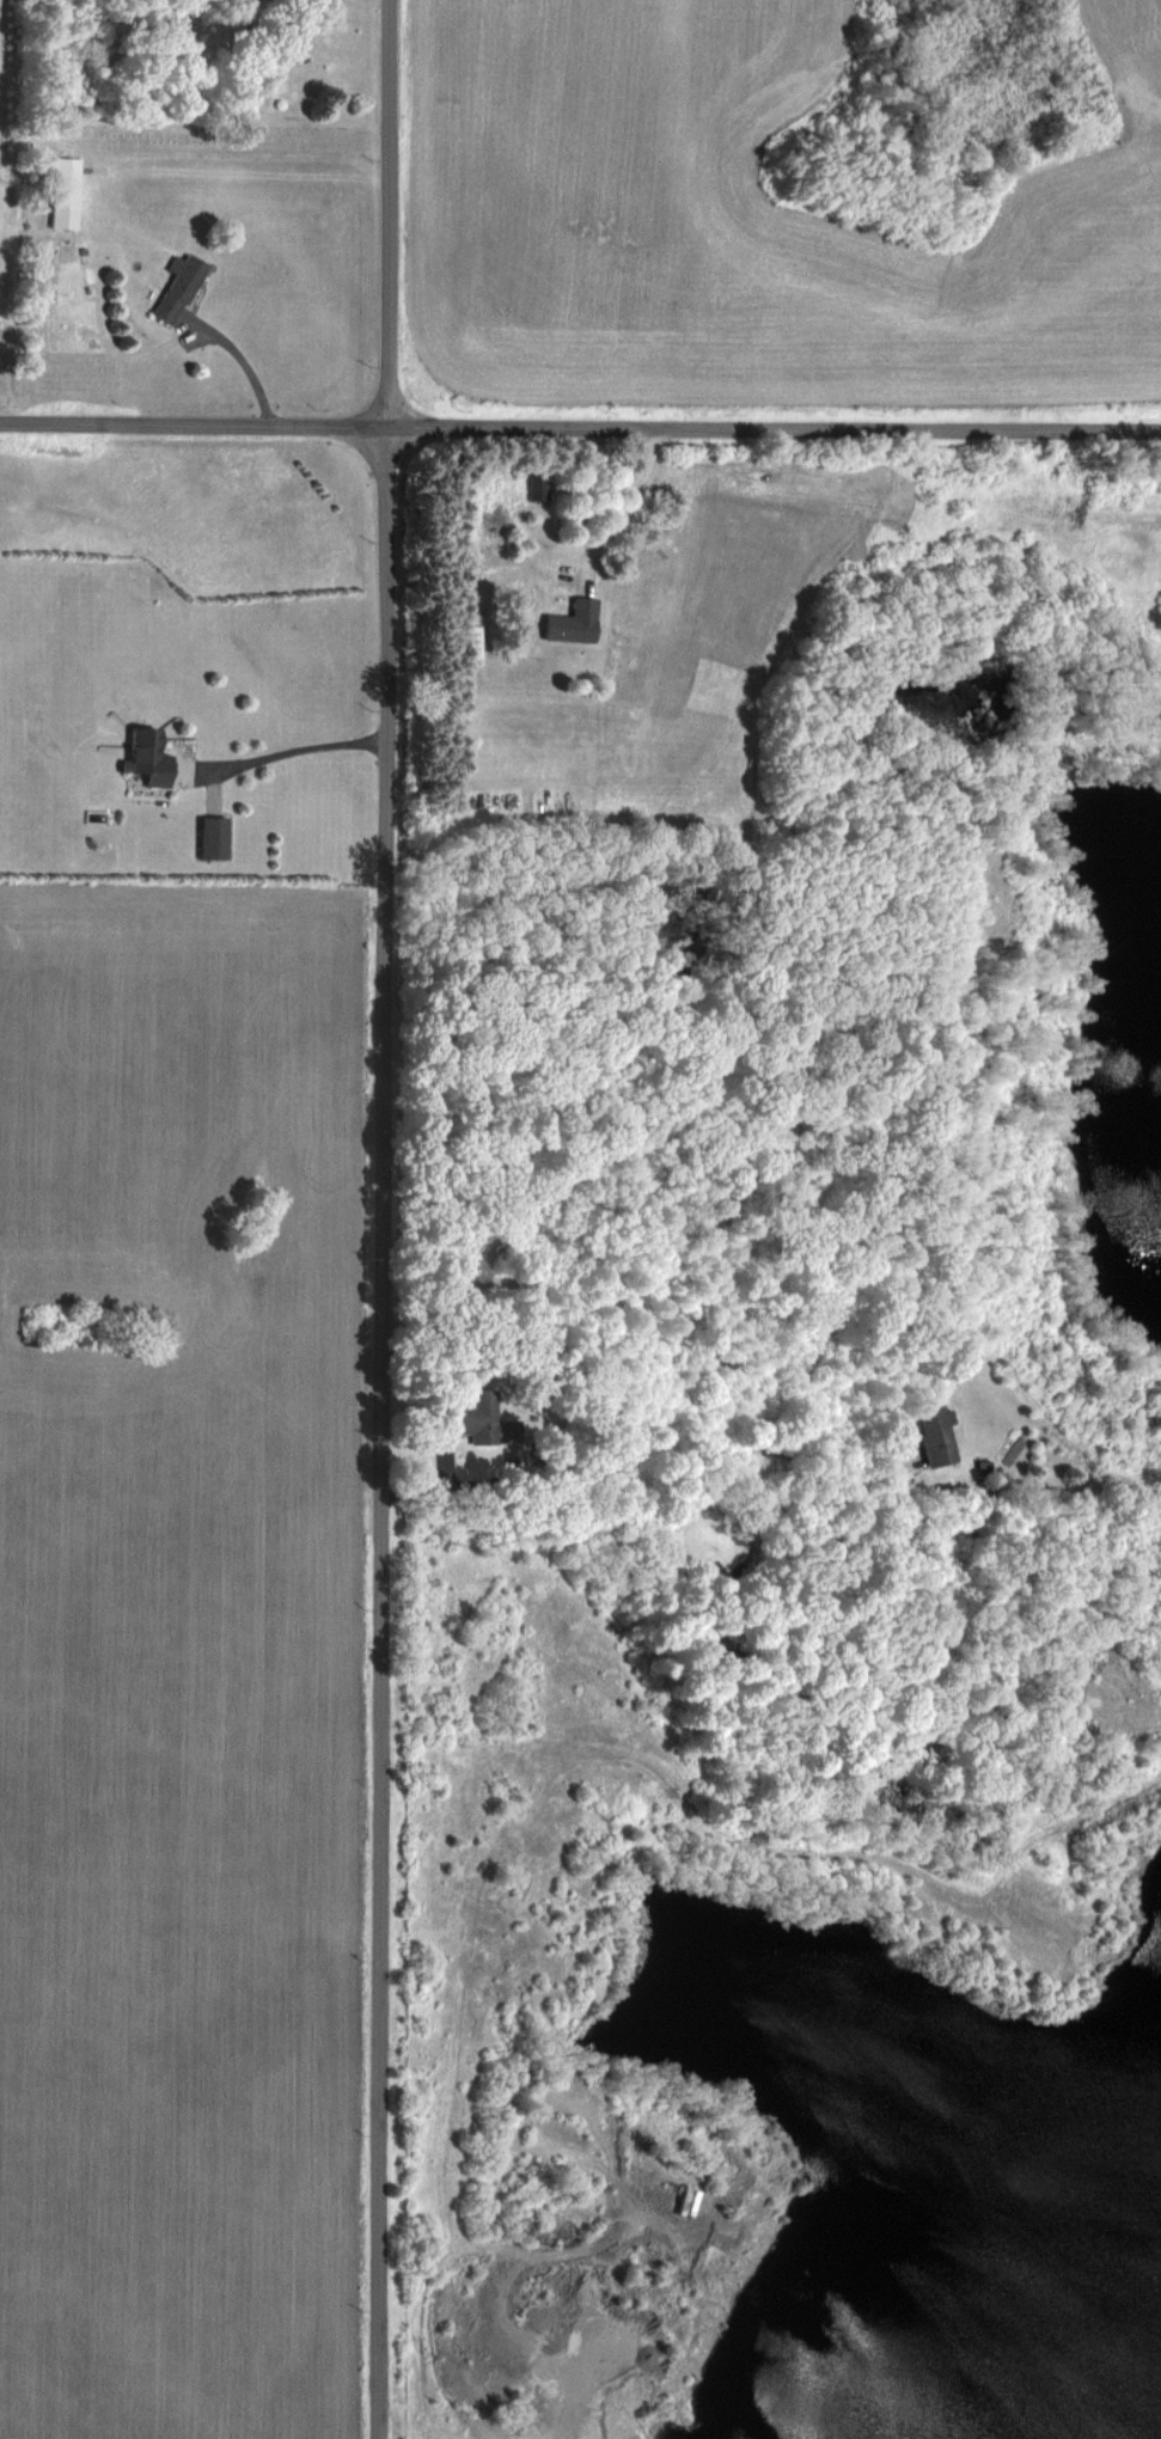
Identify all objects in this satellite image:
building: (297, 45)
building: (66, 195)
building: (183, 288)
road: (202, 332)
road: (250, 361)
road: (580, 427)
building: (536, 487)
road: (618, 508)
building: (570, 621)
building: (466, 641)
road: (289, 753)
building: (145, 756)
building: (210, 837)
road: (380, 1219)
road: (606, 1395)
building: (476, 1419)
building: (933, 1432)

